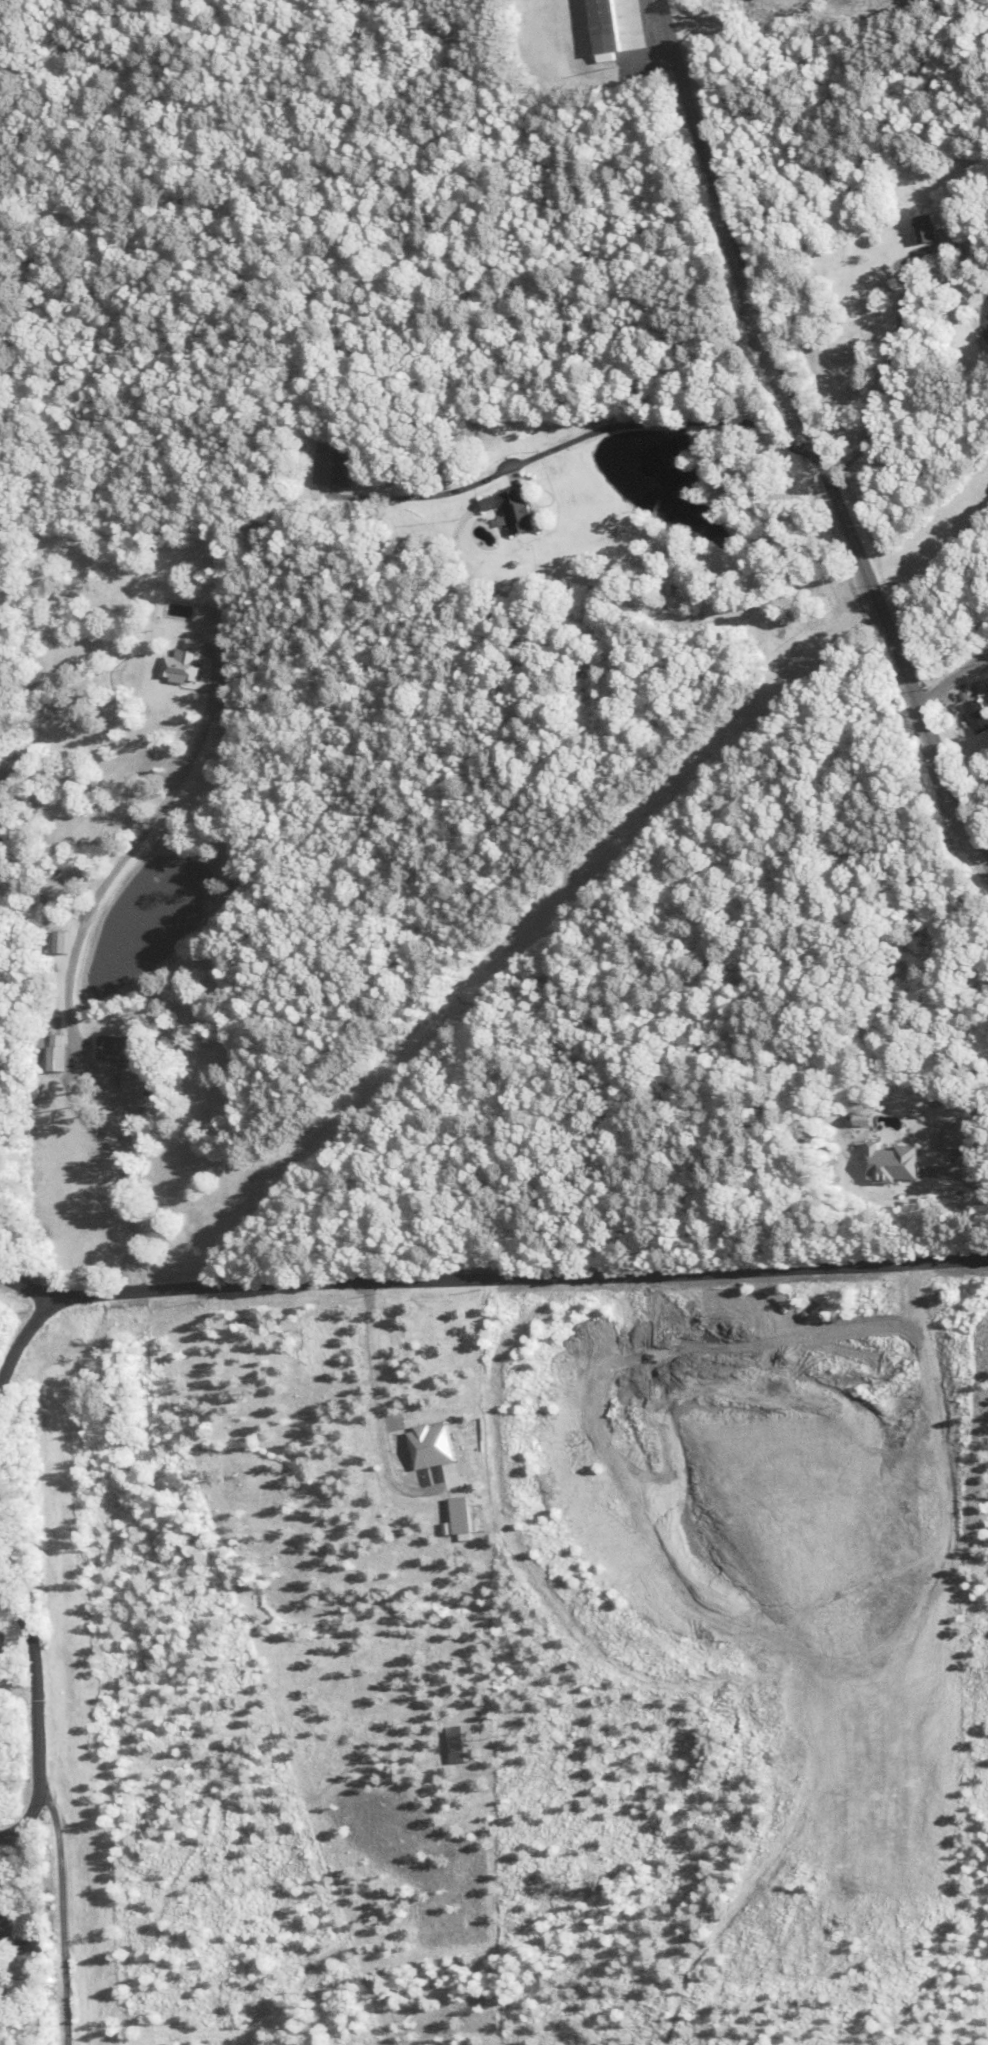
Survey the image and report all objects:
building: (618, 24)
building: (926, 228)
road: (810, 431)
building: (335, 463)
building: (517, 508)
building: (207, 613)
building: (186, 661)
road: (953, 677)
building: (978, 715)
building: (10, 820)
building: (63, 941)
building: (121, 1048)
building: (60, 1052)
building: (146, 1081)
road: (516, 1277)
road: (22, 1284)
road: (21, 1340)
road: (21, 1642)
road: (65, 1915)
building: (6, 1931)

